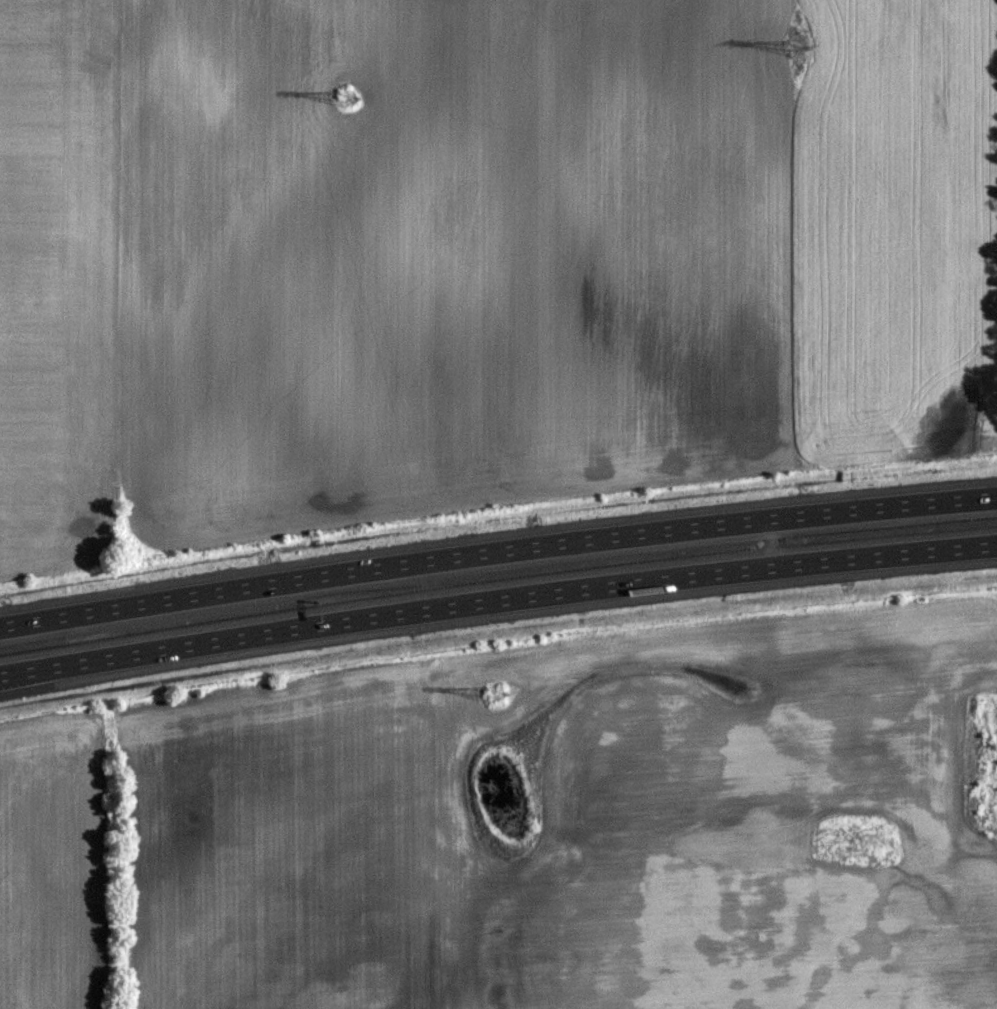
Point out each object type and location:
power tower: (789, 52)
power tower: (347, 102)
road: (778, 542)
road: (496, 547)
road: (497, 604)
power tower: (491, 698)

